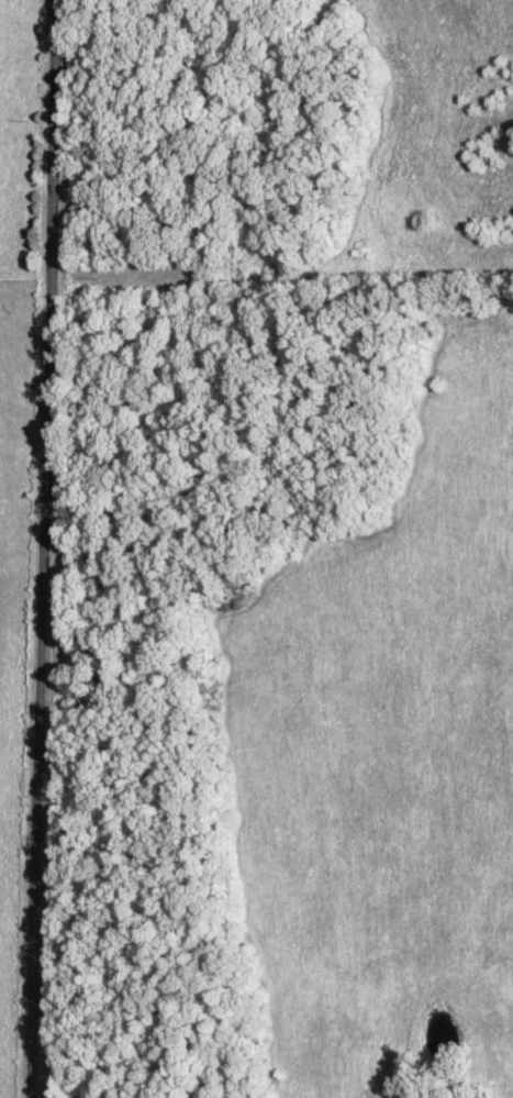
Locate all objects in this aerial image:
road: (42, 548)

